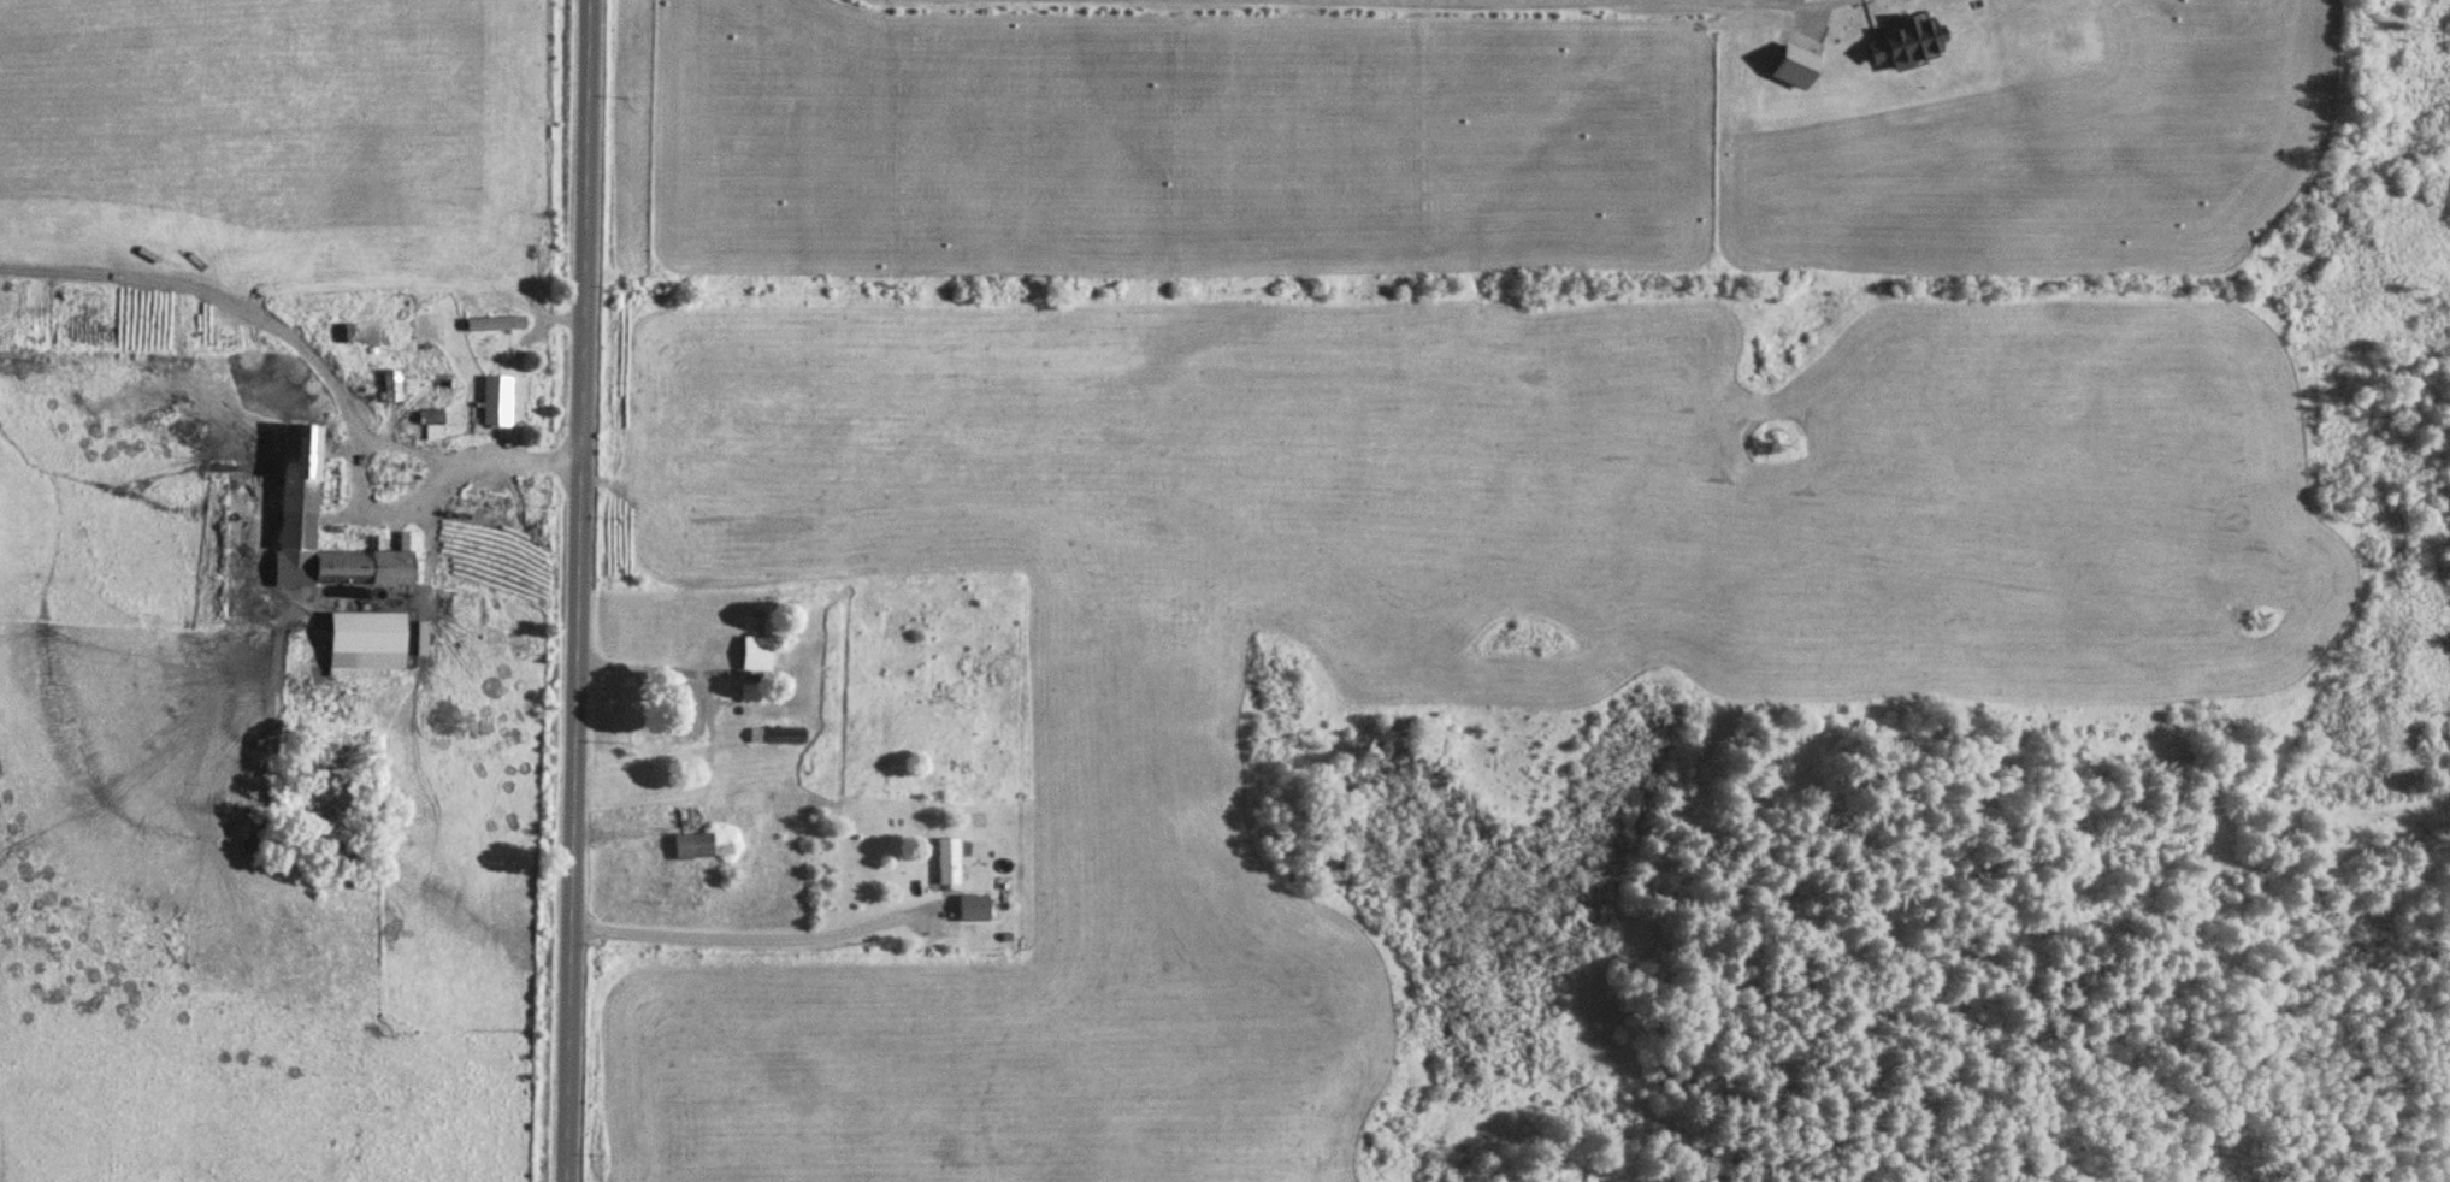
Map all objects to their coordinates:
building: (1902, 43)
building: (494, 324)
building: (389, 386)
building: (494, 400)
building: (430, 425)
building: (296, 478)
road: (577, 591)
building: (364, 633)
building: (754, 652)
building: (681, 708)
building: (698, 846)
building: (946, 861)
building: (972, 909)
road: (758, 939)

